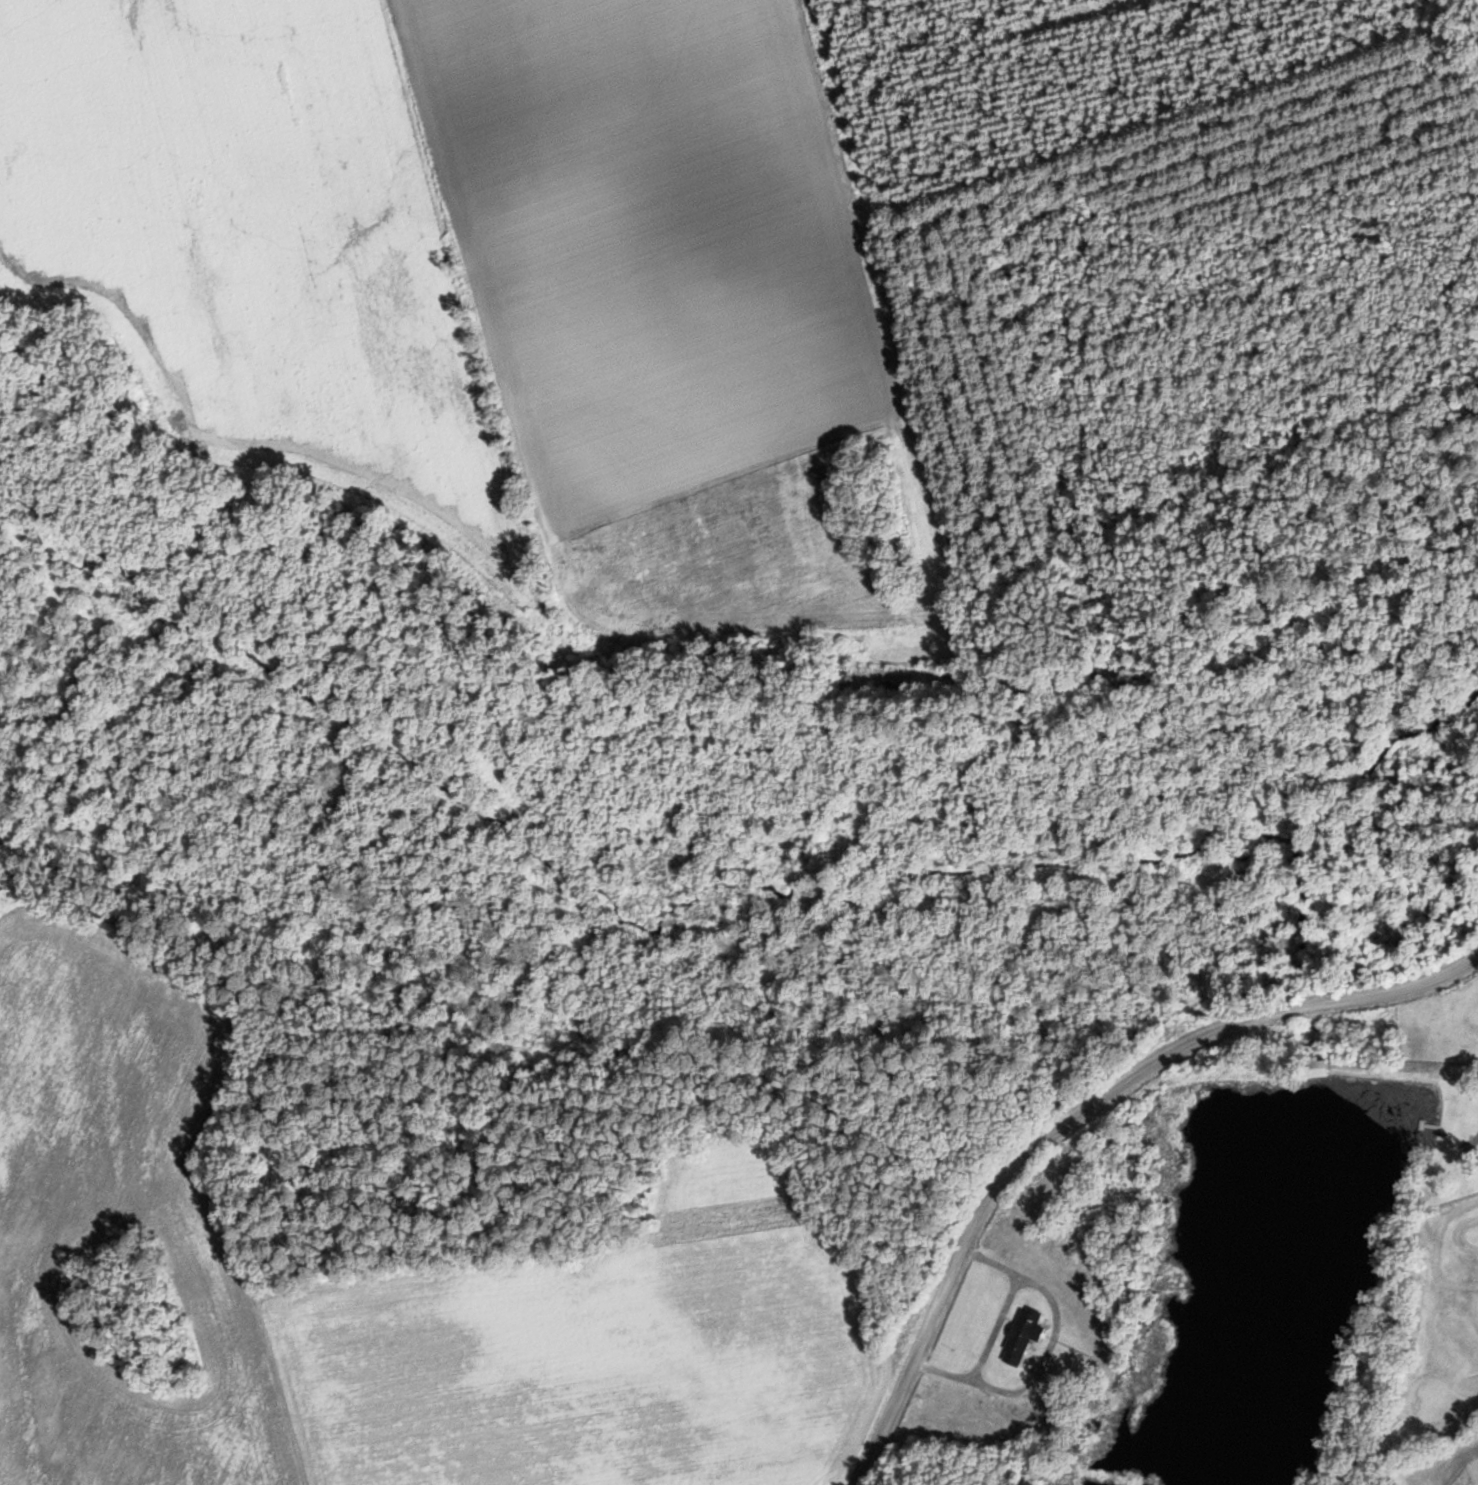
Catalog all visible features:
road: (1076, 1114)
building: (1024, 1335)

